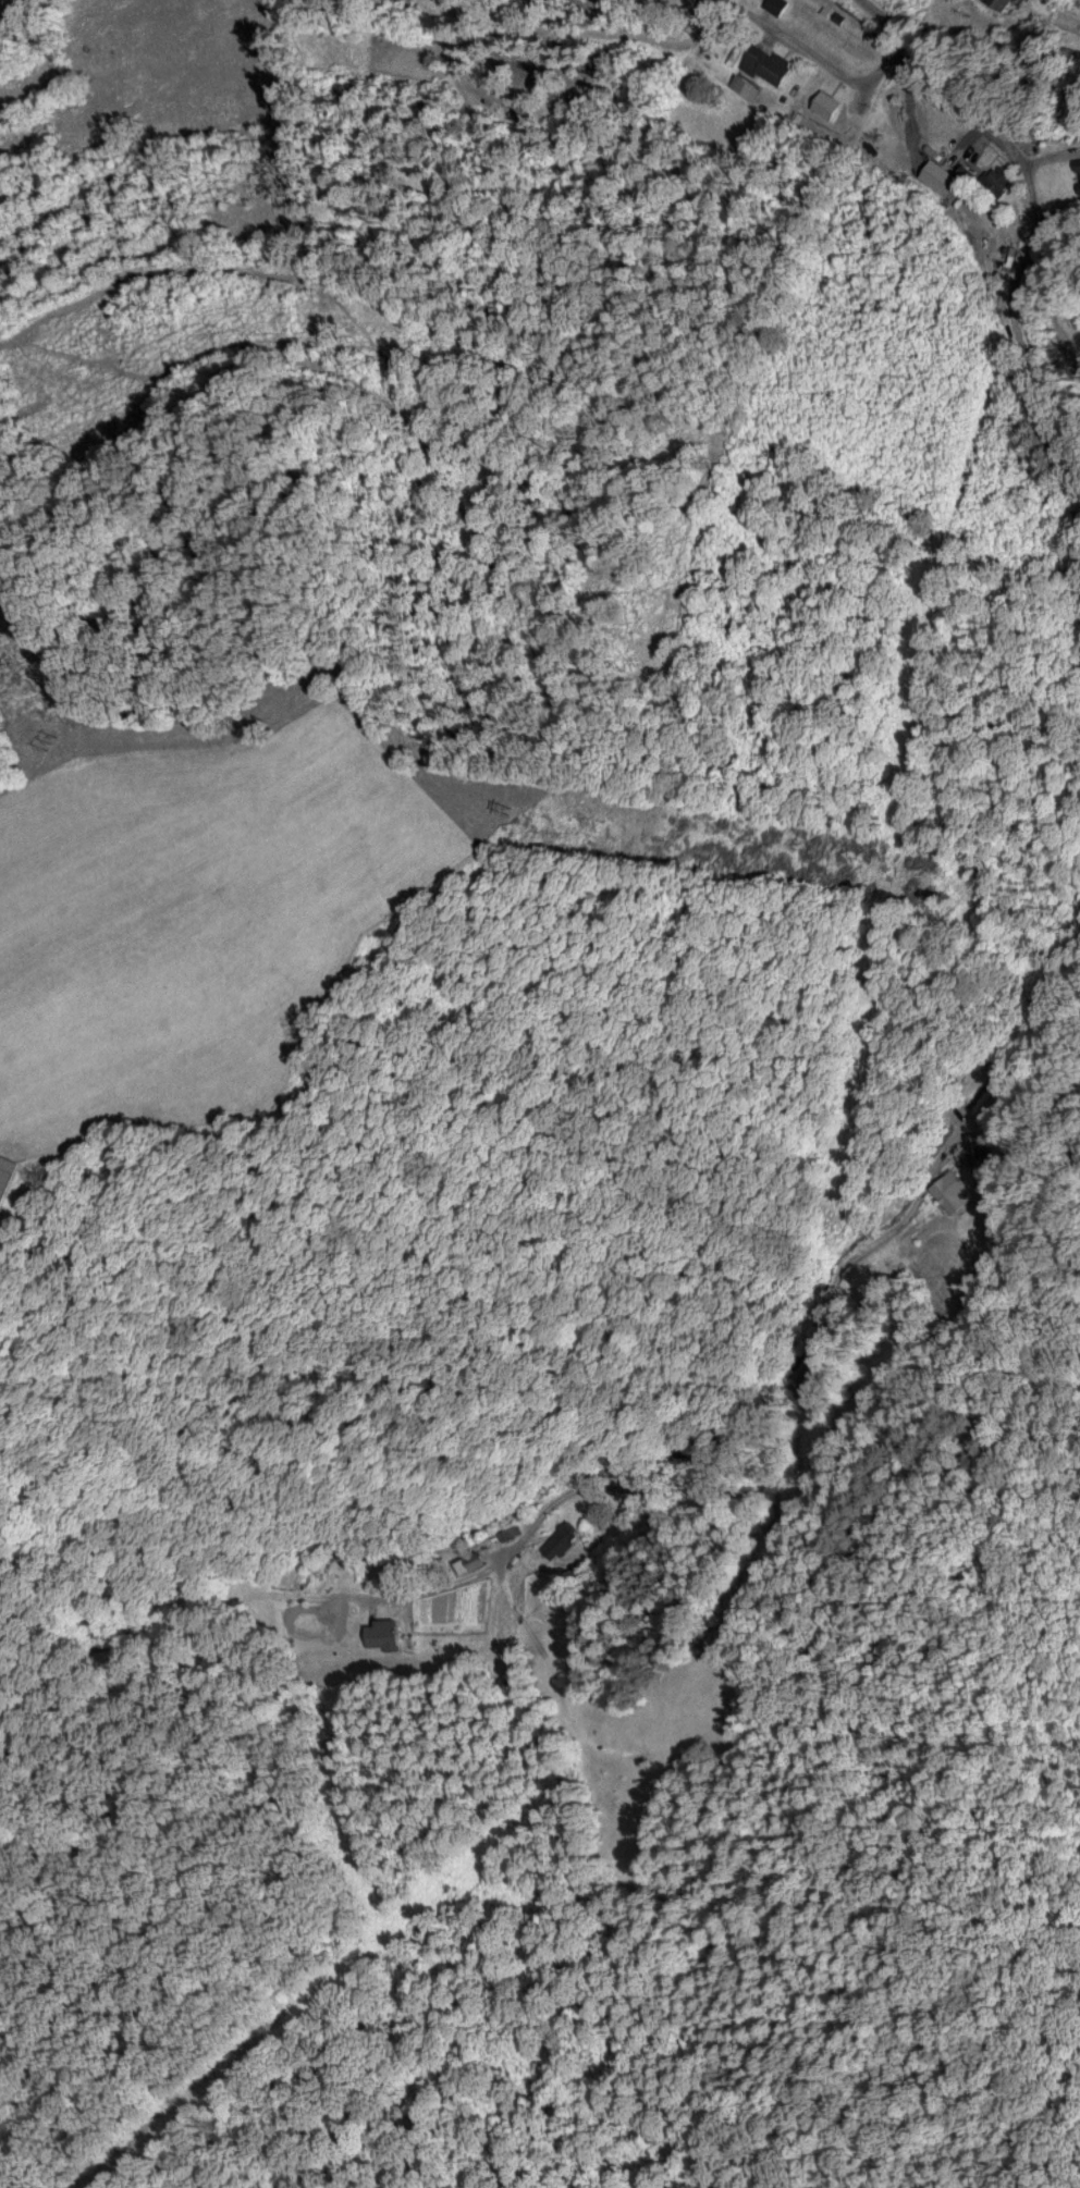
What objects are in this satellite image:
building: (1012, 2)
building: (778, 4)
road: (549, 32)
road: (817, 50)
building: (768, 64)
road: (1040, 127)
road: (1031, 225)
road: (1057, 247)
power tower: (58, 737)
power tower: (516, 807)
building: (7, 1172)
building: (950, 1188)
road: (810, 1330)
building: (472, 1560)

